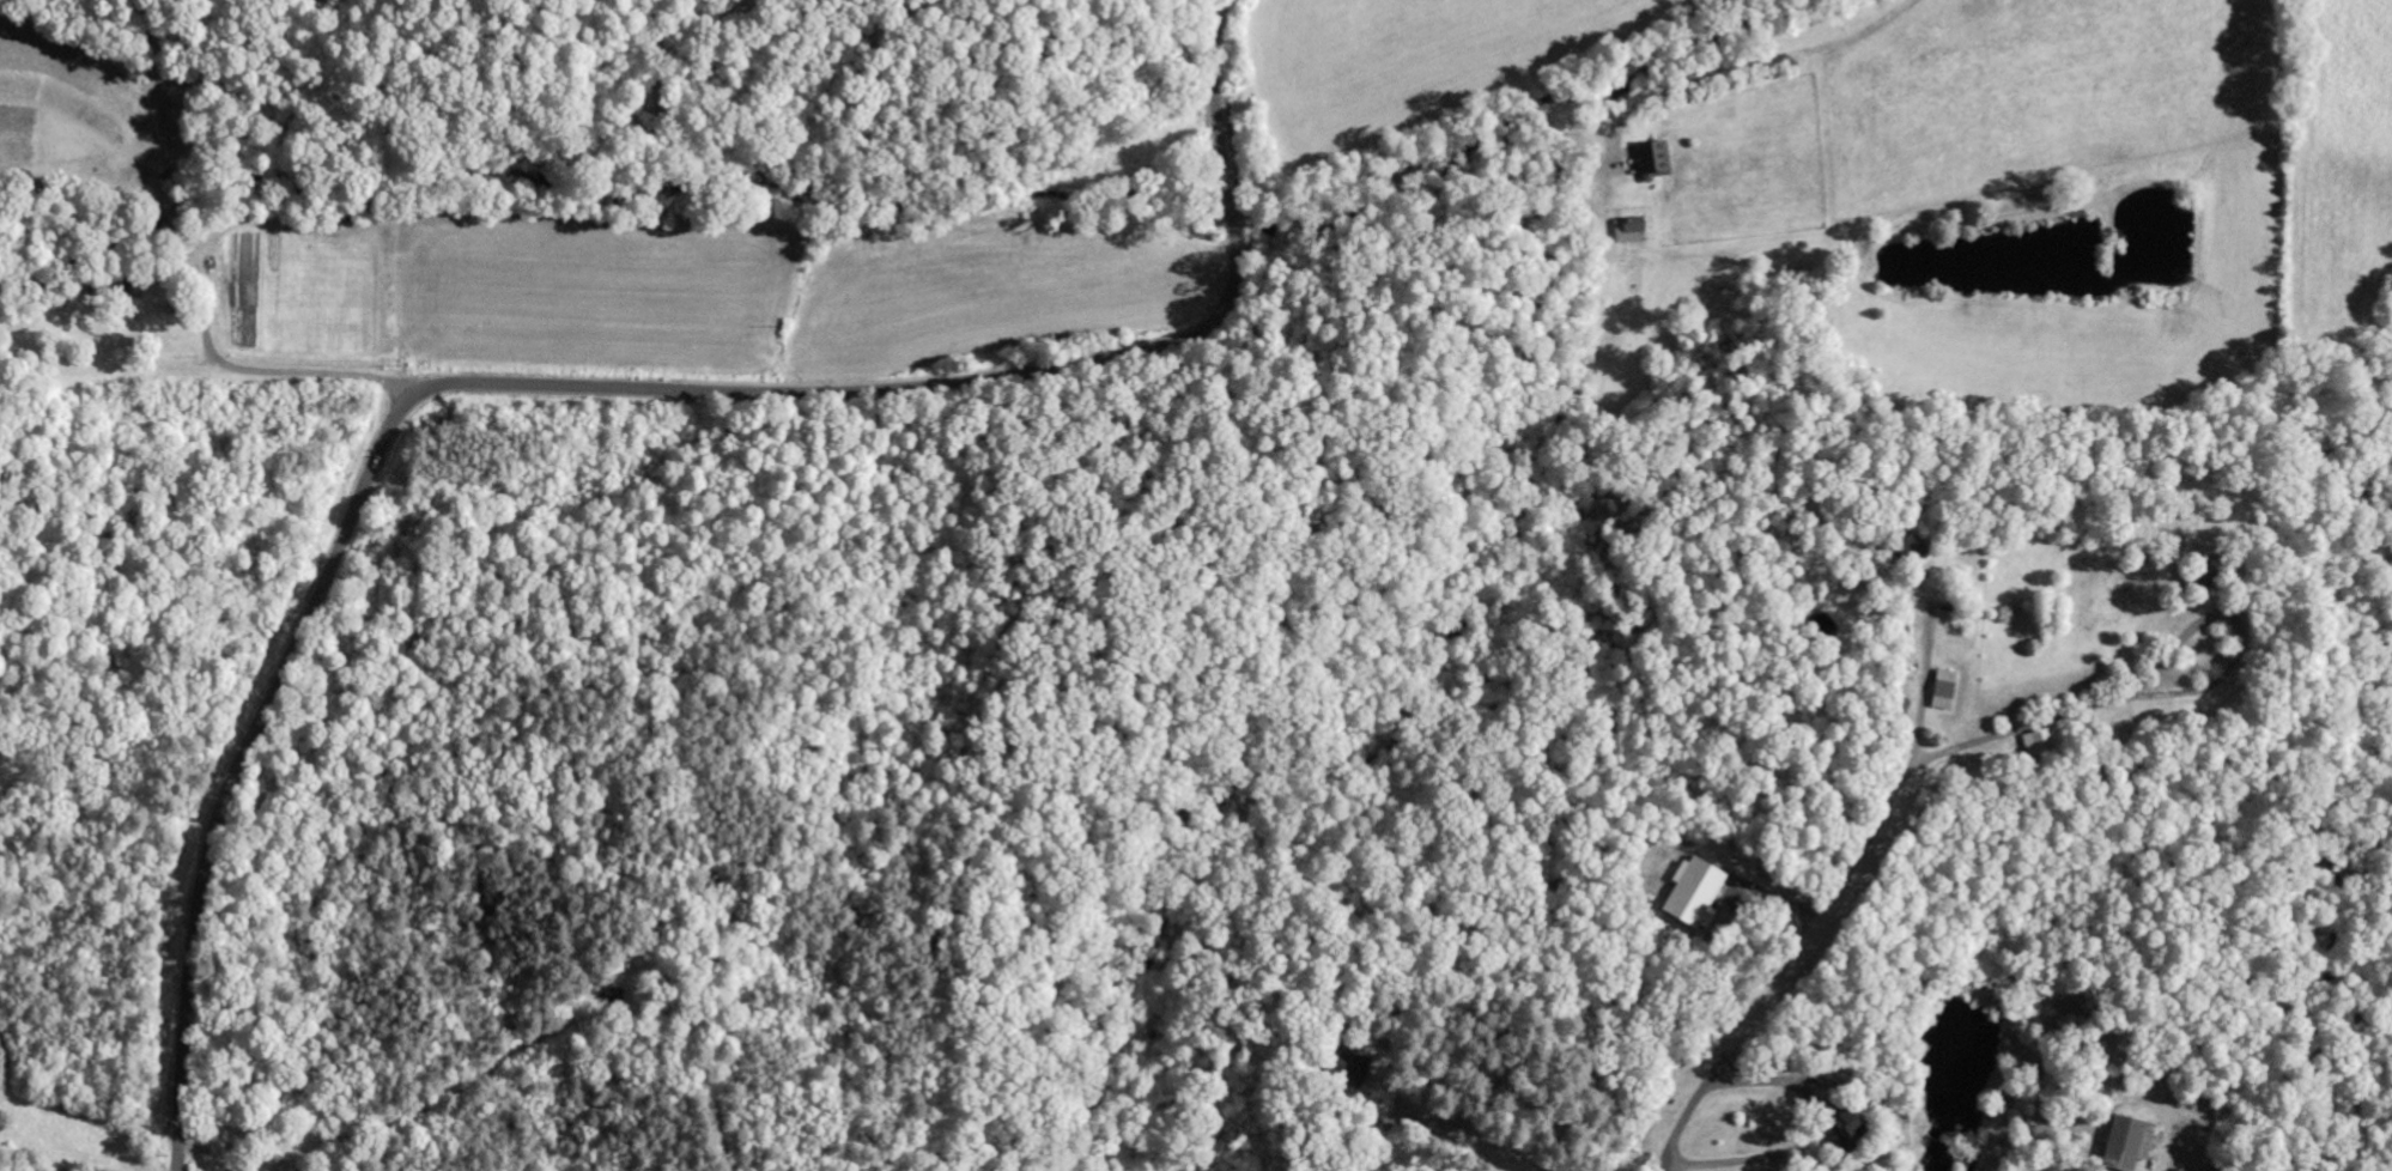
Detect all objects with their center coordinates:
building: (1658, 159)
building: (1632, 230)
road: (572, 388)
building: (1905, 547)
road: (2175, 649)
road: (2200, 688)
building: (1943, 690)
road: (1922, 694)
road: (2011, 732)
building: (2038, 741)
building: (1694, 893)
road: (1785, 972)
building: (1353, 1067)
building: (1840, 1124)
building: (2124, 1143)

